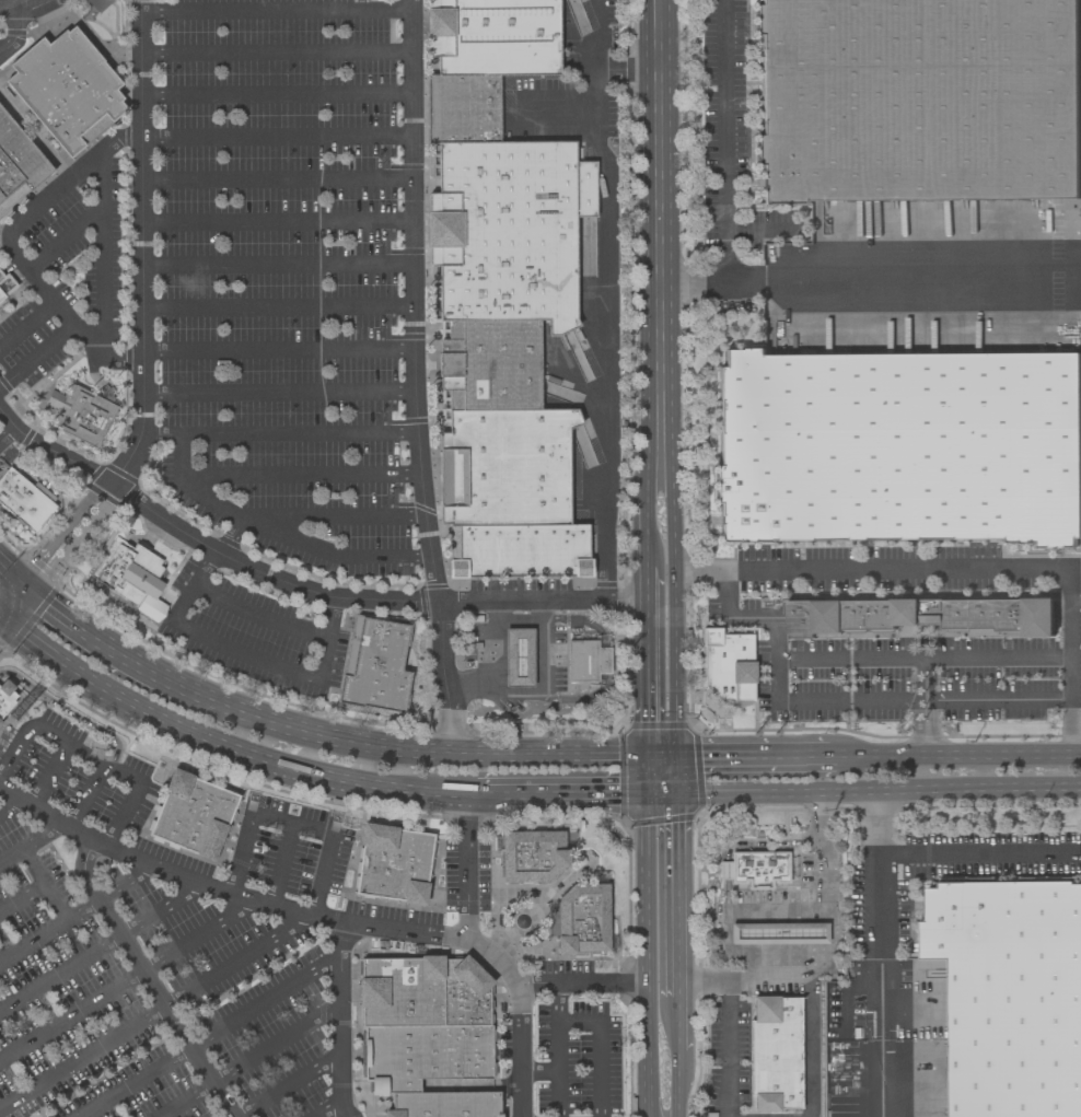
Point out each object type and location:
road: (18, 3)
road: (409, 4)
road: (138, 5)
road: (20, 8)
road: (275, 10)
road: (12, 33)
building: (492, 36)
road: (1, 46)
road: (275, 54)
building: (65, 89)
road: (275, 93)
building: (919, 100)
building: (462, 107)
road: (275, 137)
road: (725, 141)
building: (16, 164)
road: (276, 179)
road: (276, 221)
road: (659, 222)
building: (508, 229)
road: (63, 240)
road: (8, 247)
road: (140, 252)
road: (102, 254)
road: (276, 265)
parking lot: (284, 278)
road: (862, 282)
building: (4, 283)
road: (412, 304)
road: (605, 304)
road: (276, 306)
road: (27, 324)
road: (277, 349)
road: (37, 354)
building: (490, 364)
road: (278, 391)
building: (79, 412)
road: (5, 432)
road: (277, 434)
building: (902, 447)
building: (504, 467)
road: (647, 473)
road: (300, 475)
building: (26, 497)
road: (332, 517)
road: (278, 532)
road: (230, 536)
road: (644, 536)
road: (51, 537)
road: (73, 539)
building: (518, 551)
road: (207, 561)
road: (913, 568)
road: (7, 572)
building: (129, 573)
road: (274, 577)
traffic signals: (15, 580)
road: (24, 586)
traffic signals: (33, 594)
road: (539, 596)
road: (670, 600)
road: (329, 612)
road: (15, 613)
road: (257, 616)
road: (4, 617)
building: (926, 617)
traffic signals: (9, 621)
parking lot: (252, 635)
road: (488, 642)
road: (104, 643)
road: (240, 654)
road: (1000, 654)
road: (852, 656)
building: (519, 658)
building: (586, 659)
road: (643, 662)
building: (374, 665)
building: (728, 665)
road: (778, 683)
road: (536, 687)
building: (5, 695)
road: (1001, 698)
road: (67, 707)
building: (1, 722)
road: (44, 728)
road: (297, 730)
road: (228, 743)
road: (957, 756)
road: (531, 757)
traffic signals: (643, 757)
road: (656, 757)
traffic signals: (670, 757)
road: (752, 757)
road: (53, 773)
road: (670, 773)
road: (91, 790)
traffic signals: (643, 791)
road: (656, 791)
traffic signals: (671, 791)
road: (801, 791)
road: (1007, 791)
road: (558, 792)
road: (131, 795)
road: (11, 802)
building: (191, 814)
road: (290, 824)
road: (30, 839)
building: (531, 856)
road: (282, 862)
building: (392, 862)
building: (753, 868)
road: (877, 885)
road: (23, 892)
road: (823, 892)
road: (673, 894)
road: (291, 905)
road: (74, 911)
building: (582, 918)
fountain: (521, 920)
building: (778, 933)
road: (34, 936)
road: (646, 936)
road: (103, 945)
road: (609, 953)
road: (497, 954)
road: (143, 977)
road: (128, 978)
road: (809, 978)
road: (546, 984)
building: (400, 991)
building: (464, 991)
building: (1011, 996)
road: (555, 1002)
road: (155, 1009)
road: (337, 1019)
road: (676, 1023)
road: (207, 1036)
road: (604, 1044)
road: (724, 1045)
building: (426, 1050)
road: (525, 1050)
building: (775, 1052)
road: (245, 1059)
road: (555, 1069)
road: (539, 1070)
road: (676, 1083)
building: (391, 1084)
road: (287, 1089)
building: (442, 1104)
road: (332, 1109)

